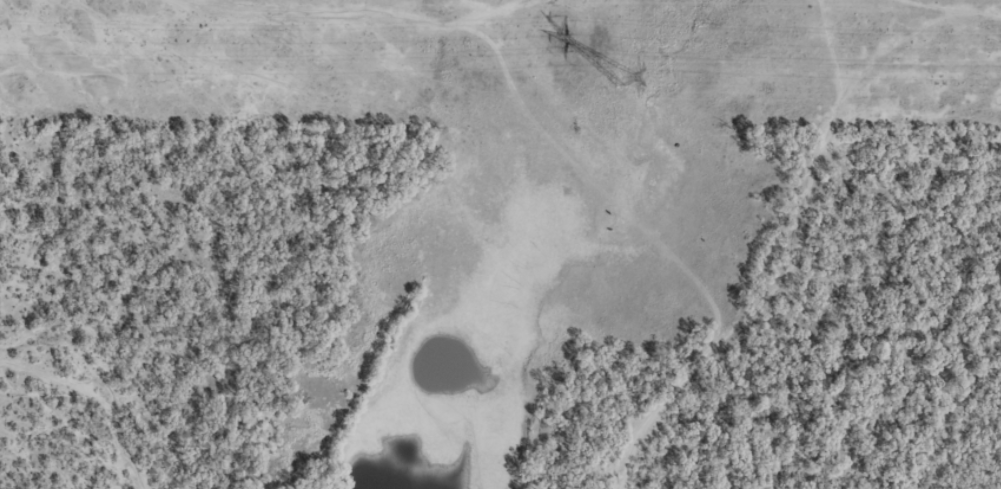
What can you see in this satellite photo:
power tower: (621, 76)

